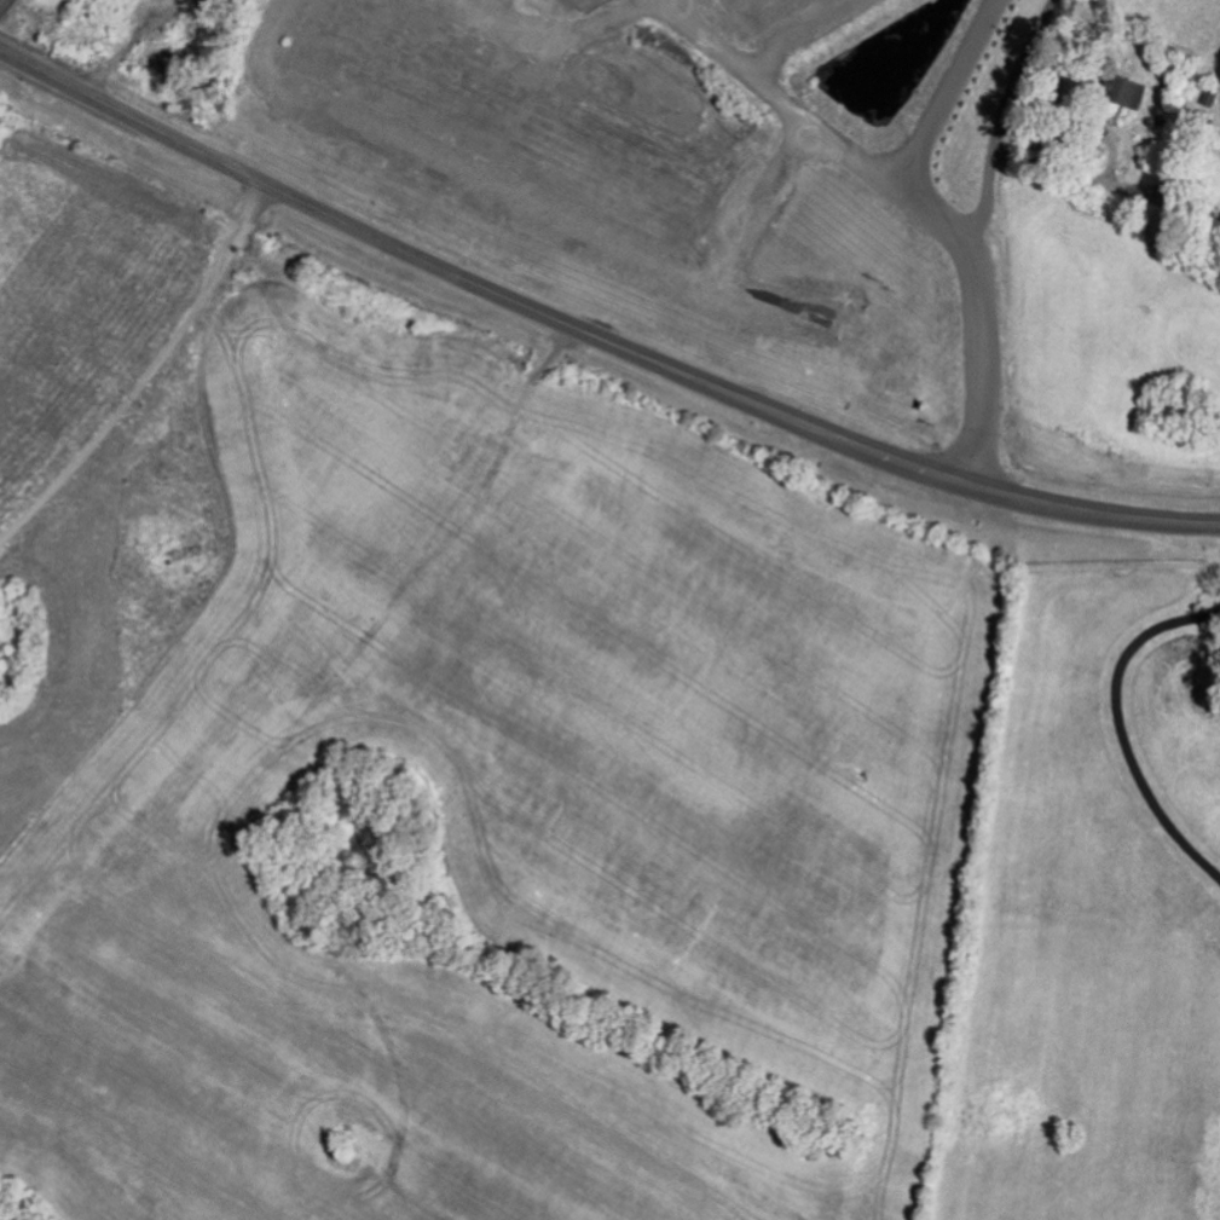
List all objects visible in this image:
road: (0, 0)
road: (548, 21)
road: (793, 34)
road: (952, 91)
building: (1120, 91)
road: (825, 126)
road: (505, 197)
road: (754, 203)
road: (989, 235)
road: (594, 328)
road: (1121, 727)

